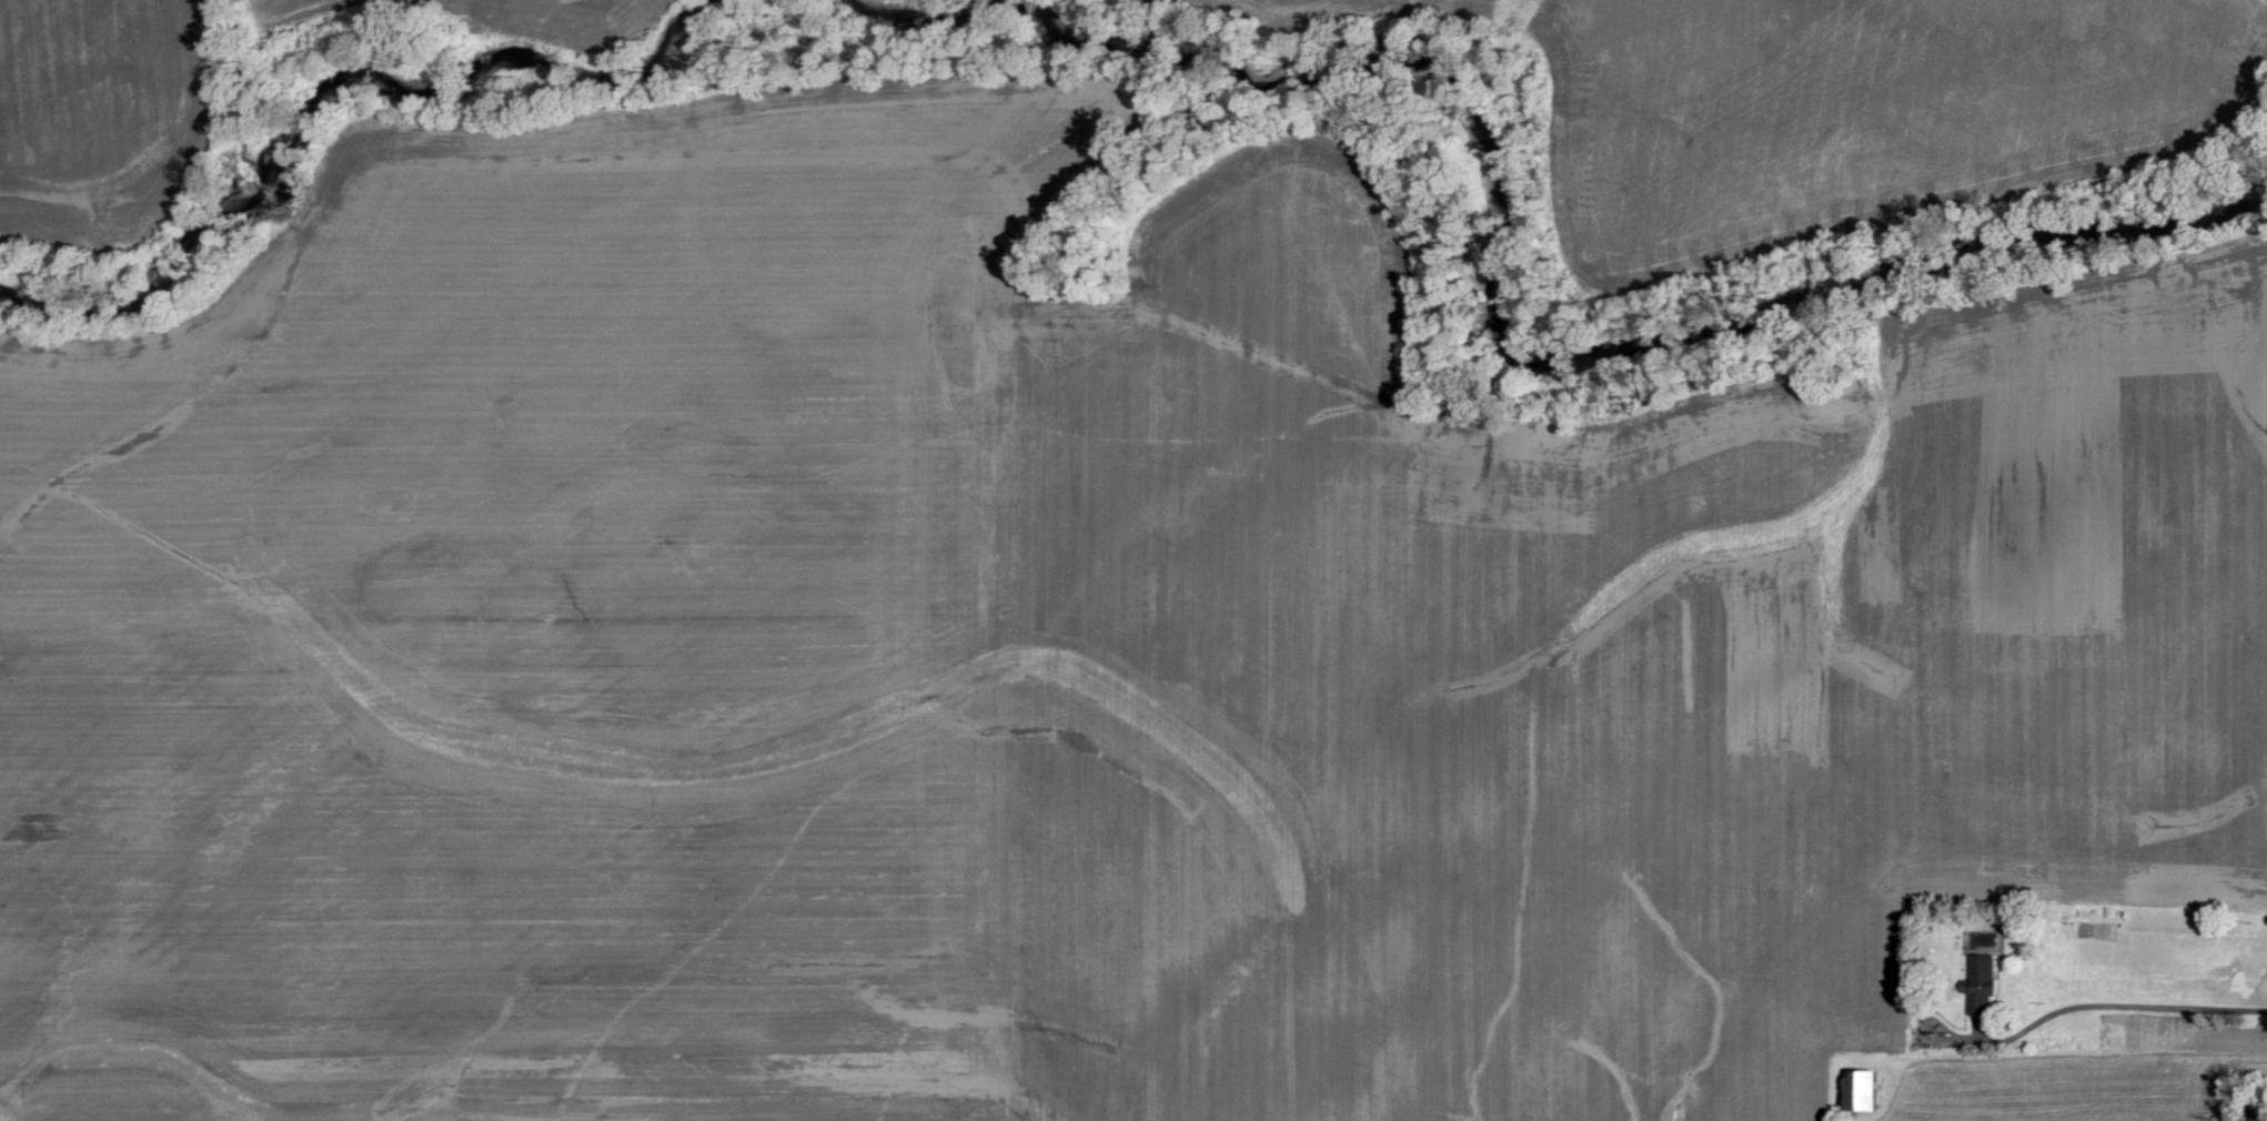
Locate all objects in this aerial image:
building: (1983, 982)
road: (2105, 1003)
building: (1863, 1090)

